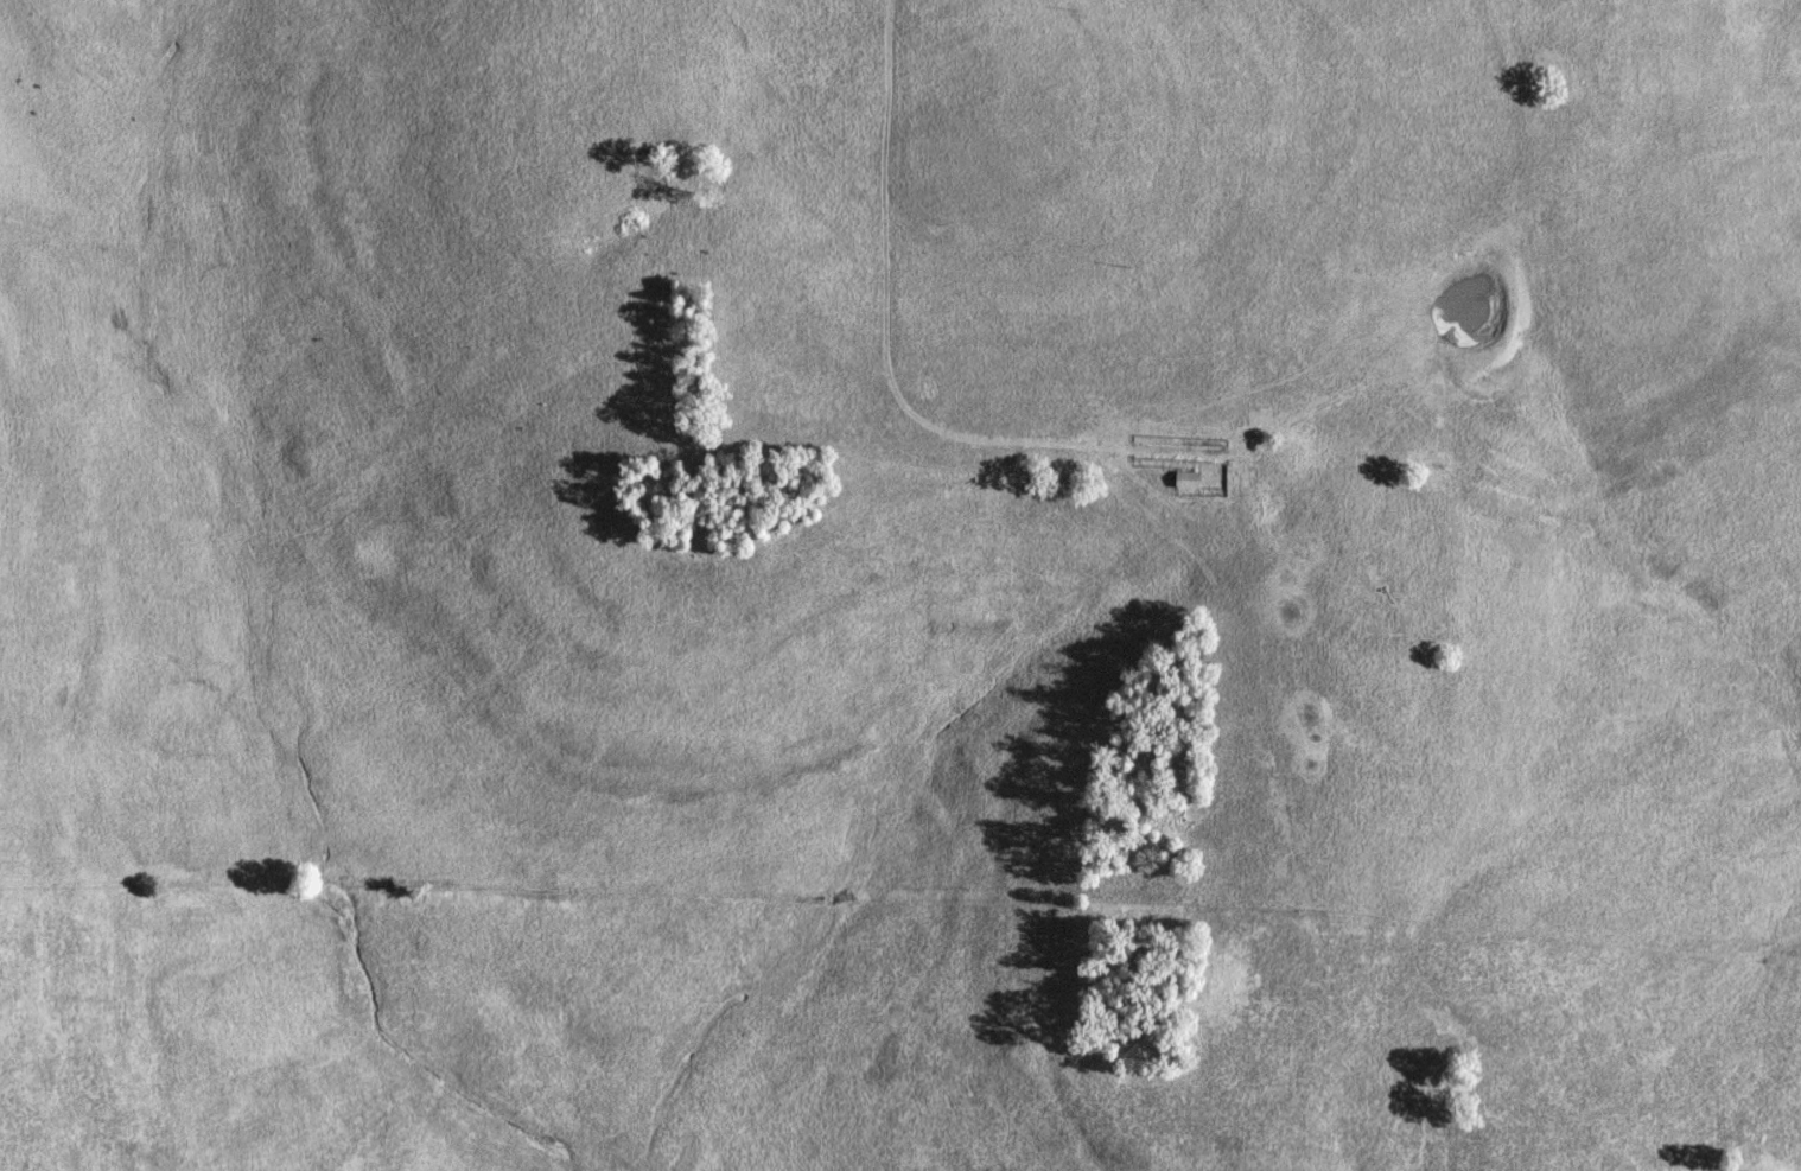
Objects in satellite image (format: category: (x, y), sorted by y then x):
building: (1189, 478)

